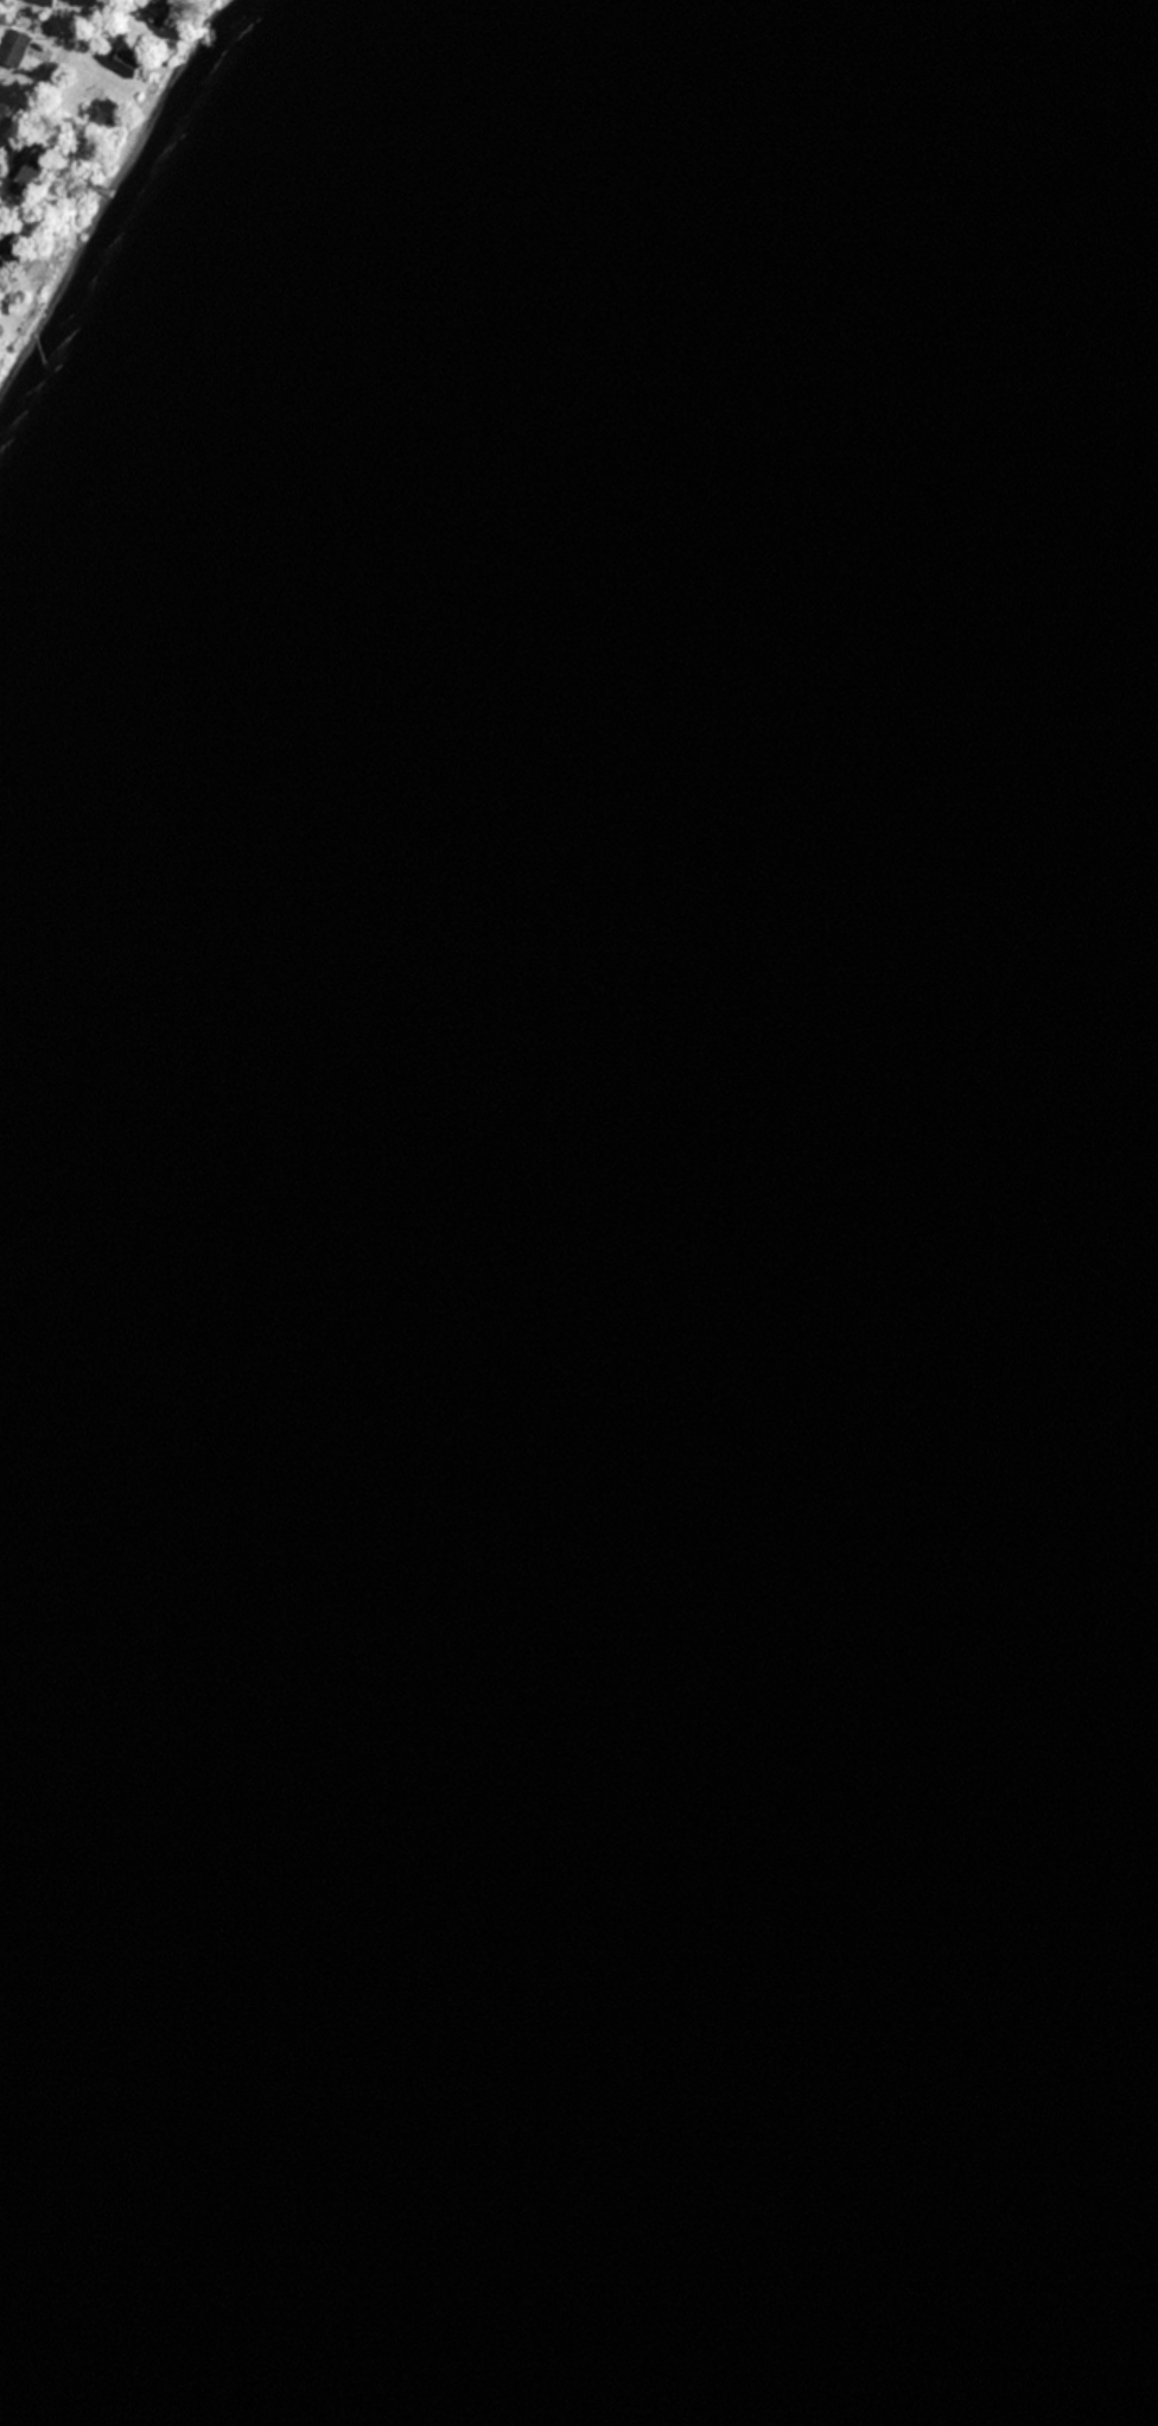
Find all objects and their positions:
building: (159, 11)
building: (14, 46)
building: (129, 64)
road: (55, 71)
building: (34, 171)
building: (13, 248)

